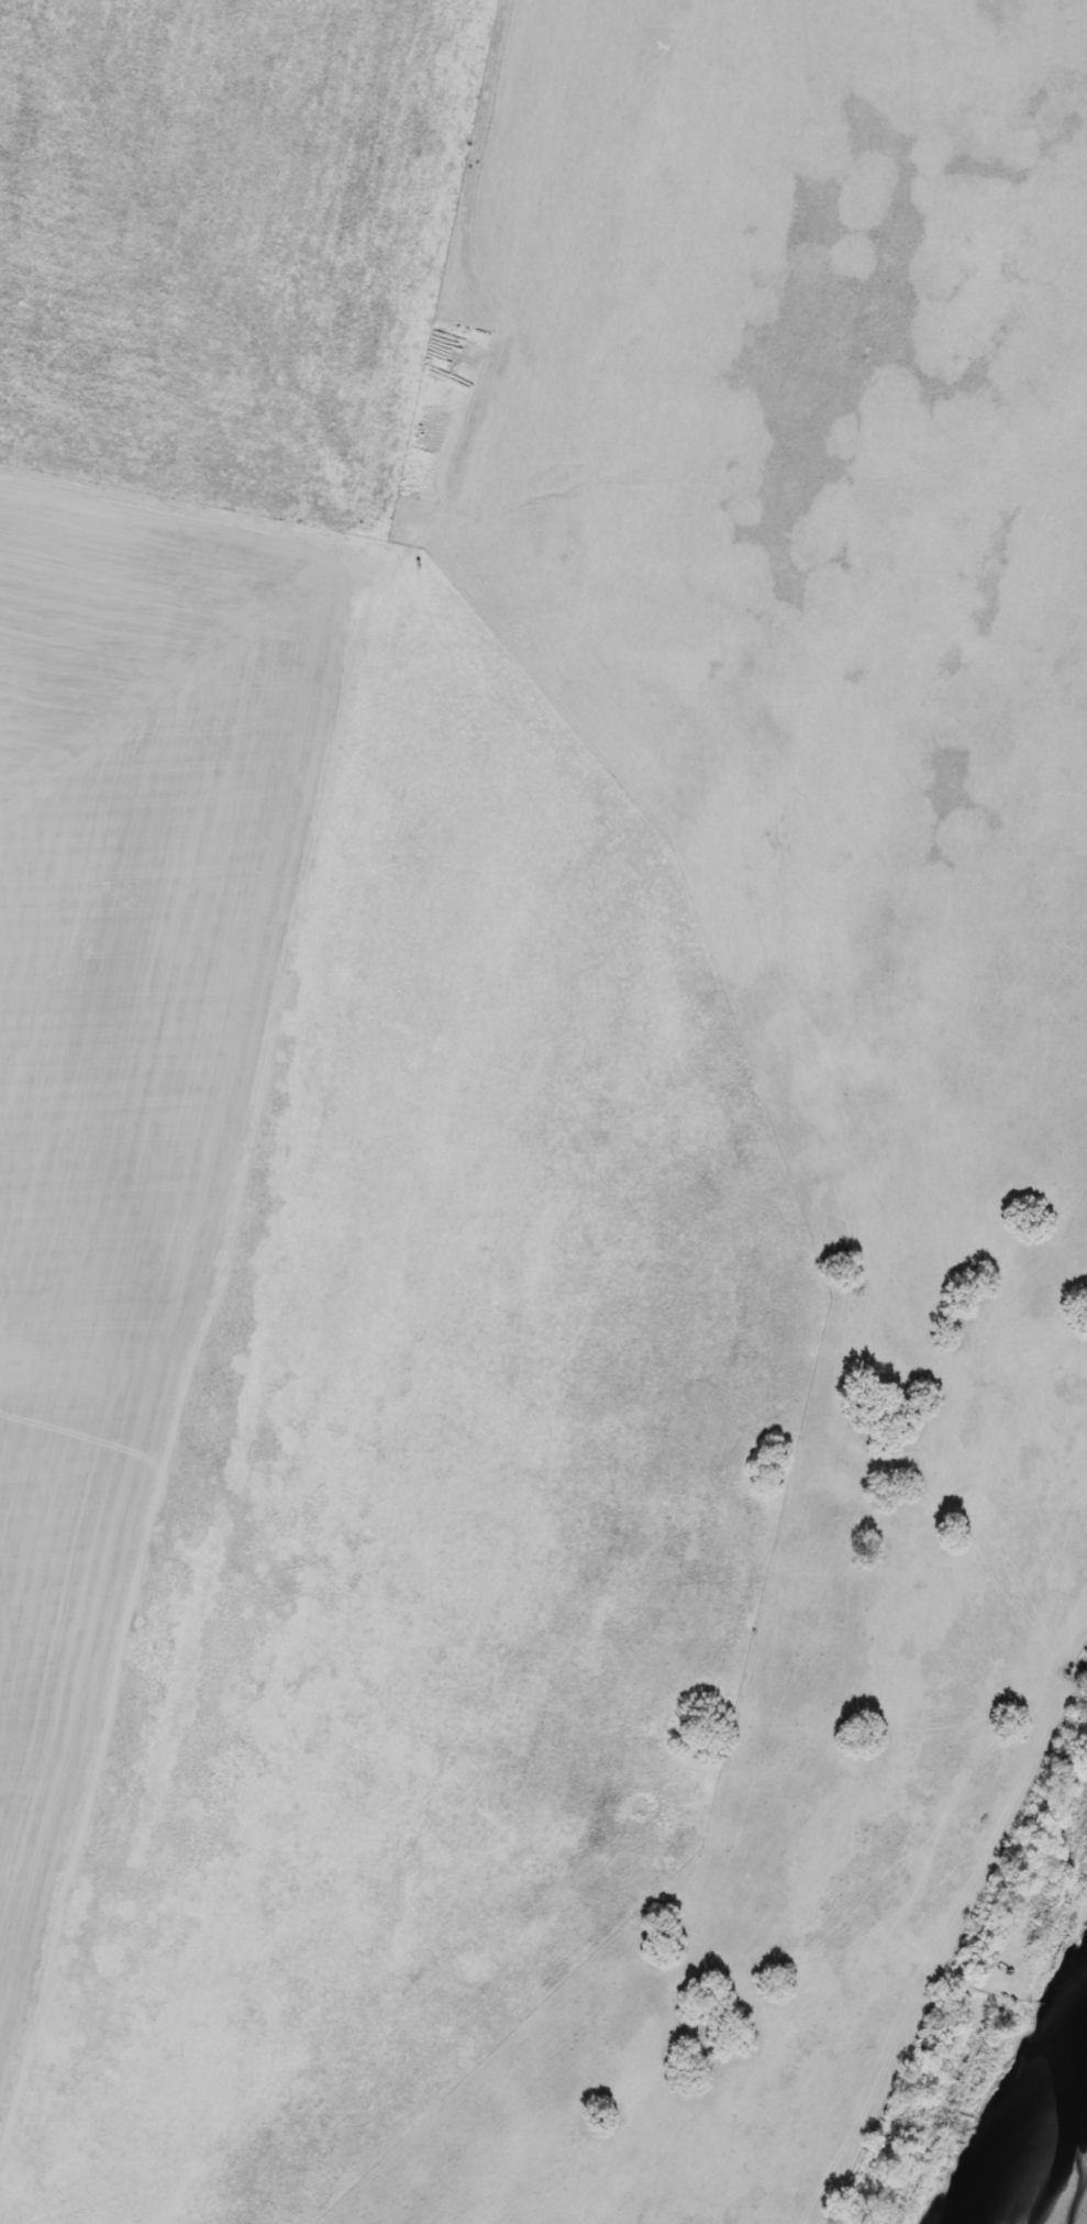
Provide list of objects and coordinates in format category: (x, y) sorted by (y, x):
river: (1033, 2135)

